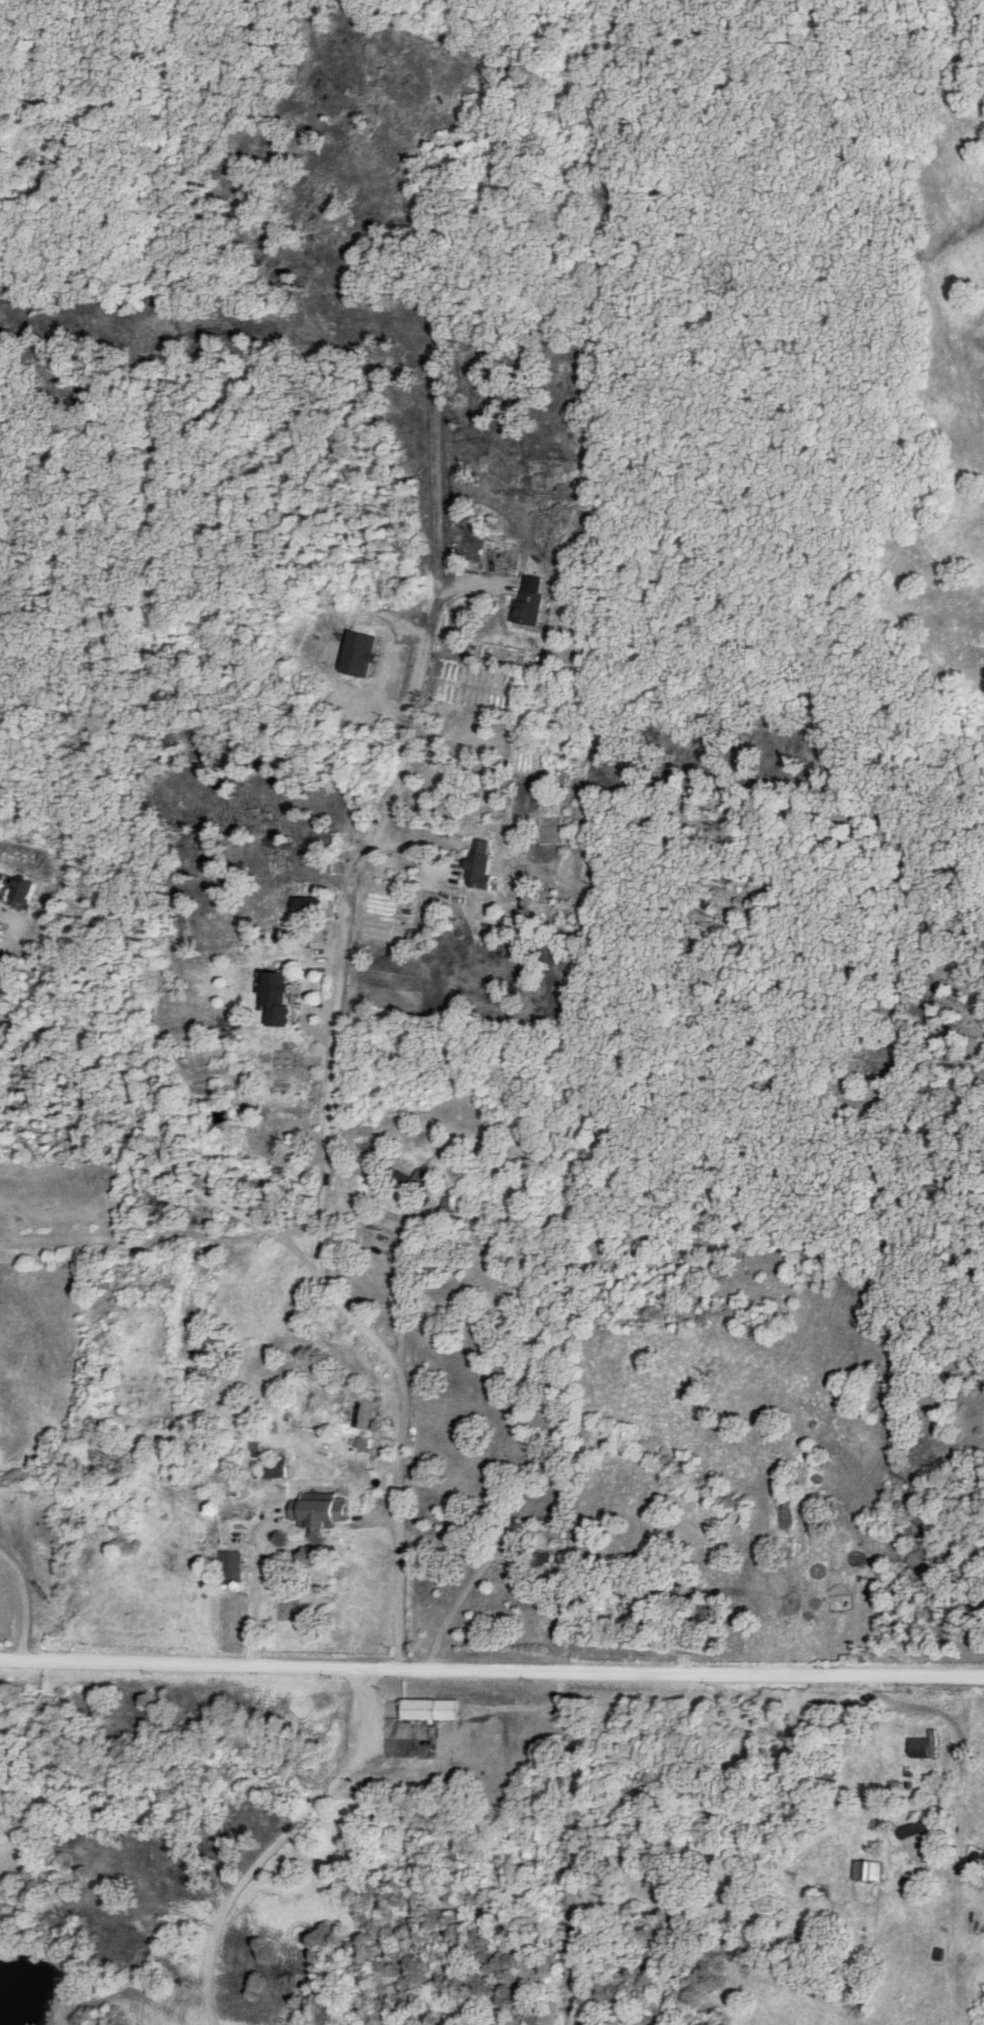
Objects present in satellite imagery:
building: (528, 607)
building: (479, 860)
building: (5, 883)
building: (421, 919)
road: (13, 942)
building: (275, 989)
building: (412, 1180)
road: (322, 1226)
building: (274, 1468)
building: (315, 1510)
building: (515, 1526)
road: (267, 1531)
building: (232, 1567)
road: (16, 1589)
road: (459, 1605)
road: (491, 1670)
building: (431, 1708)
road: (967, 1738)
building: (926, 1745)
building: (913, 1829)
road: (282, 1844)
building: (869, 1870)
building: (824, 1890)

